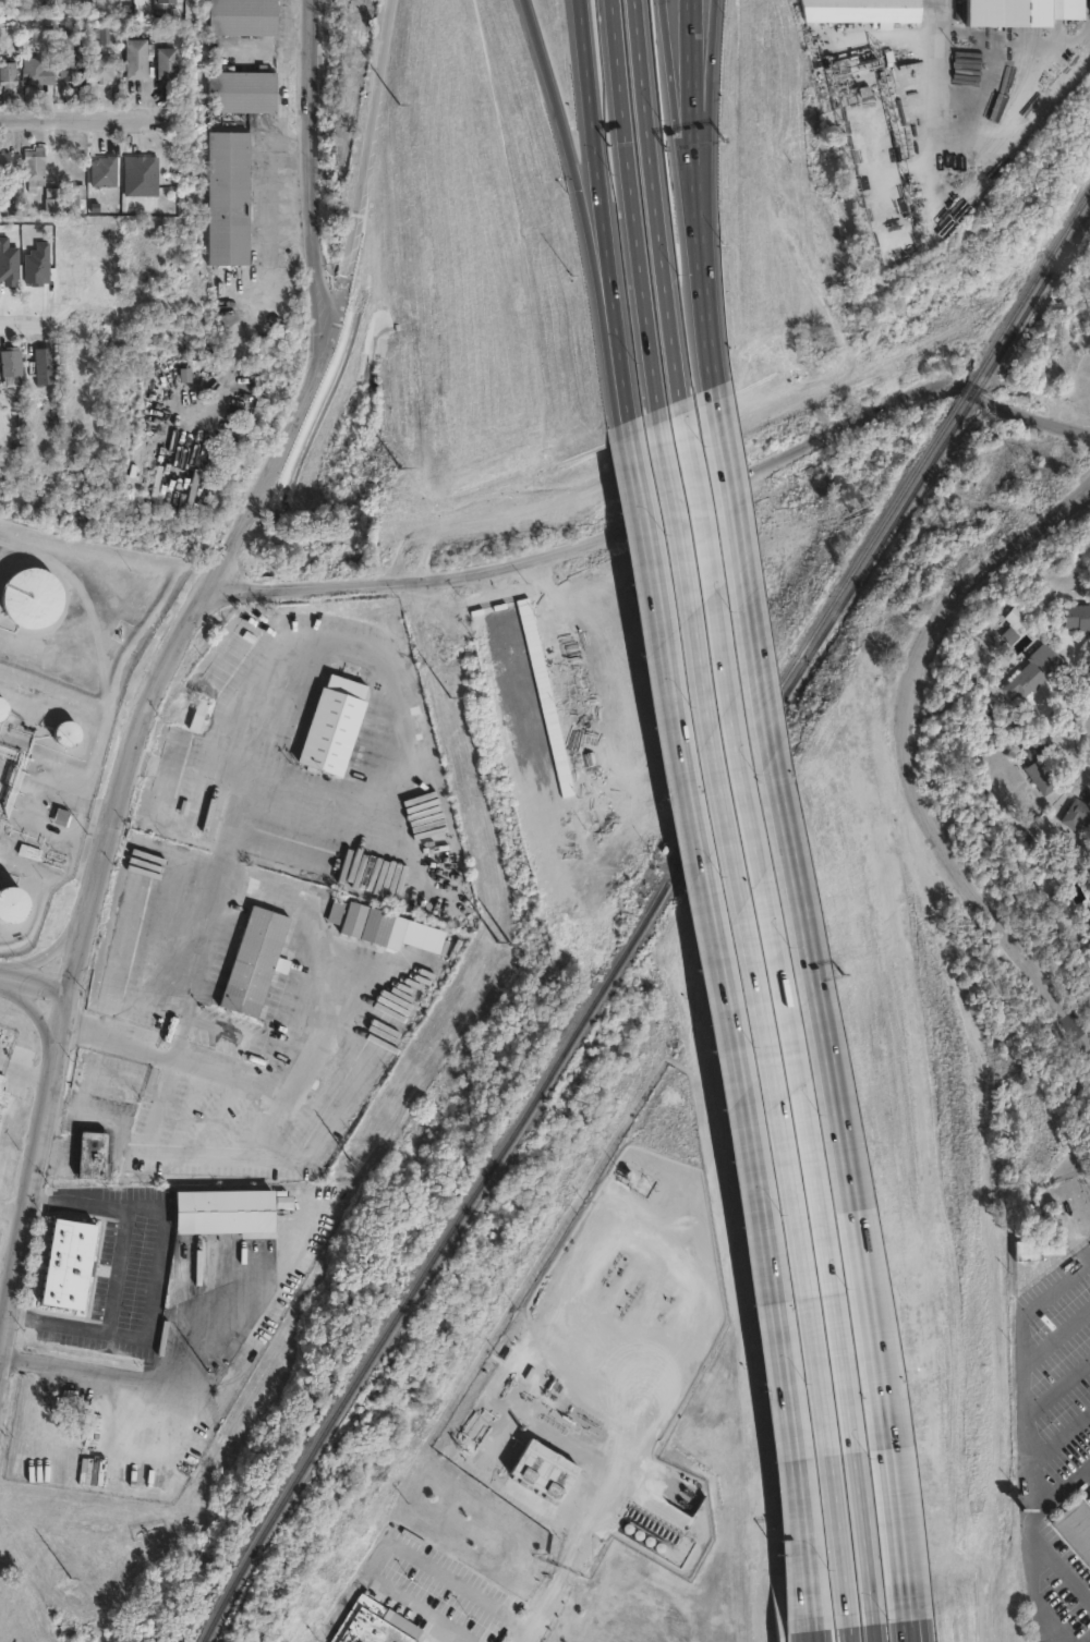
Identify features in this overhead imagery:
building: (166, 2)
building: (861, 11)
building: (1025, 13)
building: (245, 17)
building: (69, 36)
building: (137, 63)
building: (167, 63)
road: (950, 63)
building: (70, 66)
building: (105, 69)
road: (687, 70)
road: (697, 70)
building: (9, 74)
building: (39, 75)
building: (509, 92)
building: (244, 93)
power tower: (397, 117)
road: (590, 118)
road: (69, 119)
road: (1030, 122)
road: (678, 142)
building: (5, 162)
building: (36, 163)
building: (104, 172)
road: (312, 181)
building: (76, 198)
building: (230, 198)
road: (653, 199)
building: (55, 202)
road: (631, 204)
road: (581, 208)
road: (692, 211)
road: (337, 296)
building: (464, 296)
road: (26, 324)
road: (614, 327)
road: (704, 335)
building: (46, 366)
building: (11, 372)
park: (1081, 397)
road: (722, 471)
power tower: (397, 491)
road: (667, 503)
railway: (880, 526)
building: (32, 597)
building: (1012, 621)
building: (1076, 621)
power tower: (432, 629)
building: (1034, 671)
building: (534, 680)
road: (392, 688)
building: (2, 709)
building: (338, 730)
building: (65, 734)
road: (135, 739)
road: (904, 752)
building: (1040, 767)
road: (73, 800)
building: (60, 816)
building: (1076, 822)
building: (29, 858)
road: (217, 874)
building: (12, 904)
building: (336, 913)
building: (377, 925)
railway: (643, 925)
power tower: (505, 927)
road: (50, 950)
road: (83, 957)
building: (256, 962)
road: (1, 972)
road: (38, 985)
road: (785, 1010)
road: (760, 1015)
road: (727, 1019)
road: (36, 1020)
road: (311, 1070)
road: (27, 1074)
road: (832, 1087)
building: (3, 1096)
power tower: (360, 1144)
building: (97, 1164)
road: (36, 1195)
road: (15, 1212)
building: (227, 1219)
building: (1034, 1256)
building: (73, 1272)
road: (156, 1275)
road: (3, 1357)
road: (165, 1381)
building: (92, 1426)
road: (1038, 1445)
building: (550, 1479)
road: (596, 1501)
building: (1076, 1529)
road: (402, 1548)
power tower: (65, 1585)
building: (376, 1627)
road: (809, 1627)
road: (533, 1631)
road: (910, 1631)
road: (912, 1631)
road: (848, 1633)
road: (872, 1633)
road: (440, 1637)
road: (807, 1637)
road: (809, 1637)

